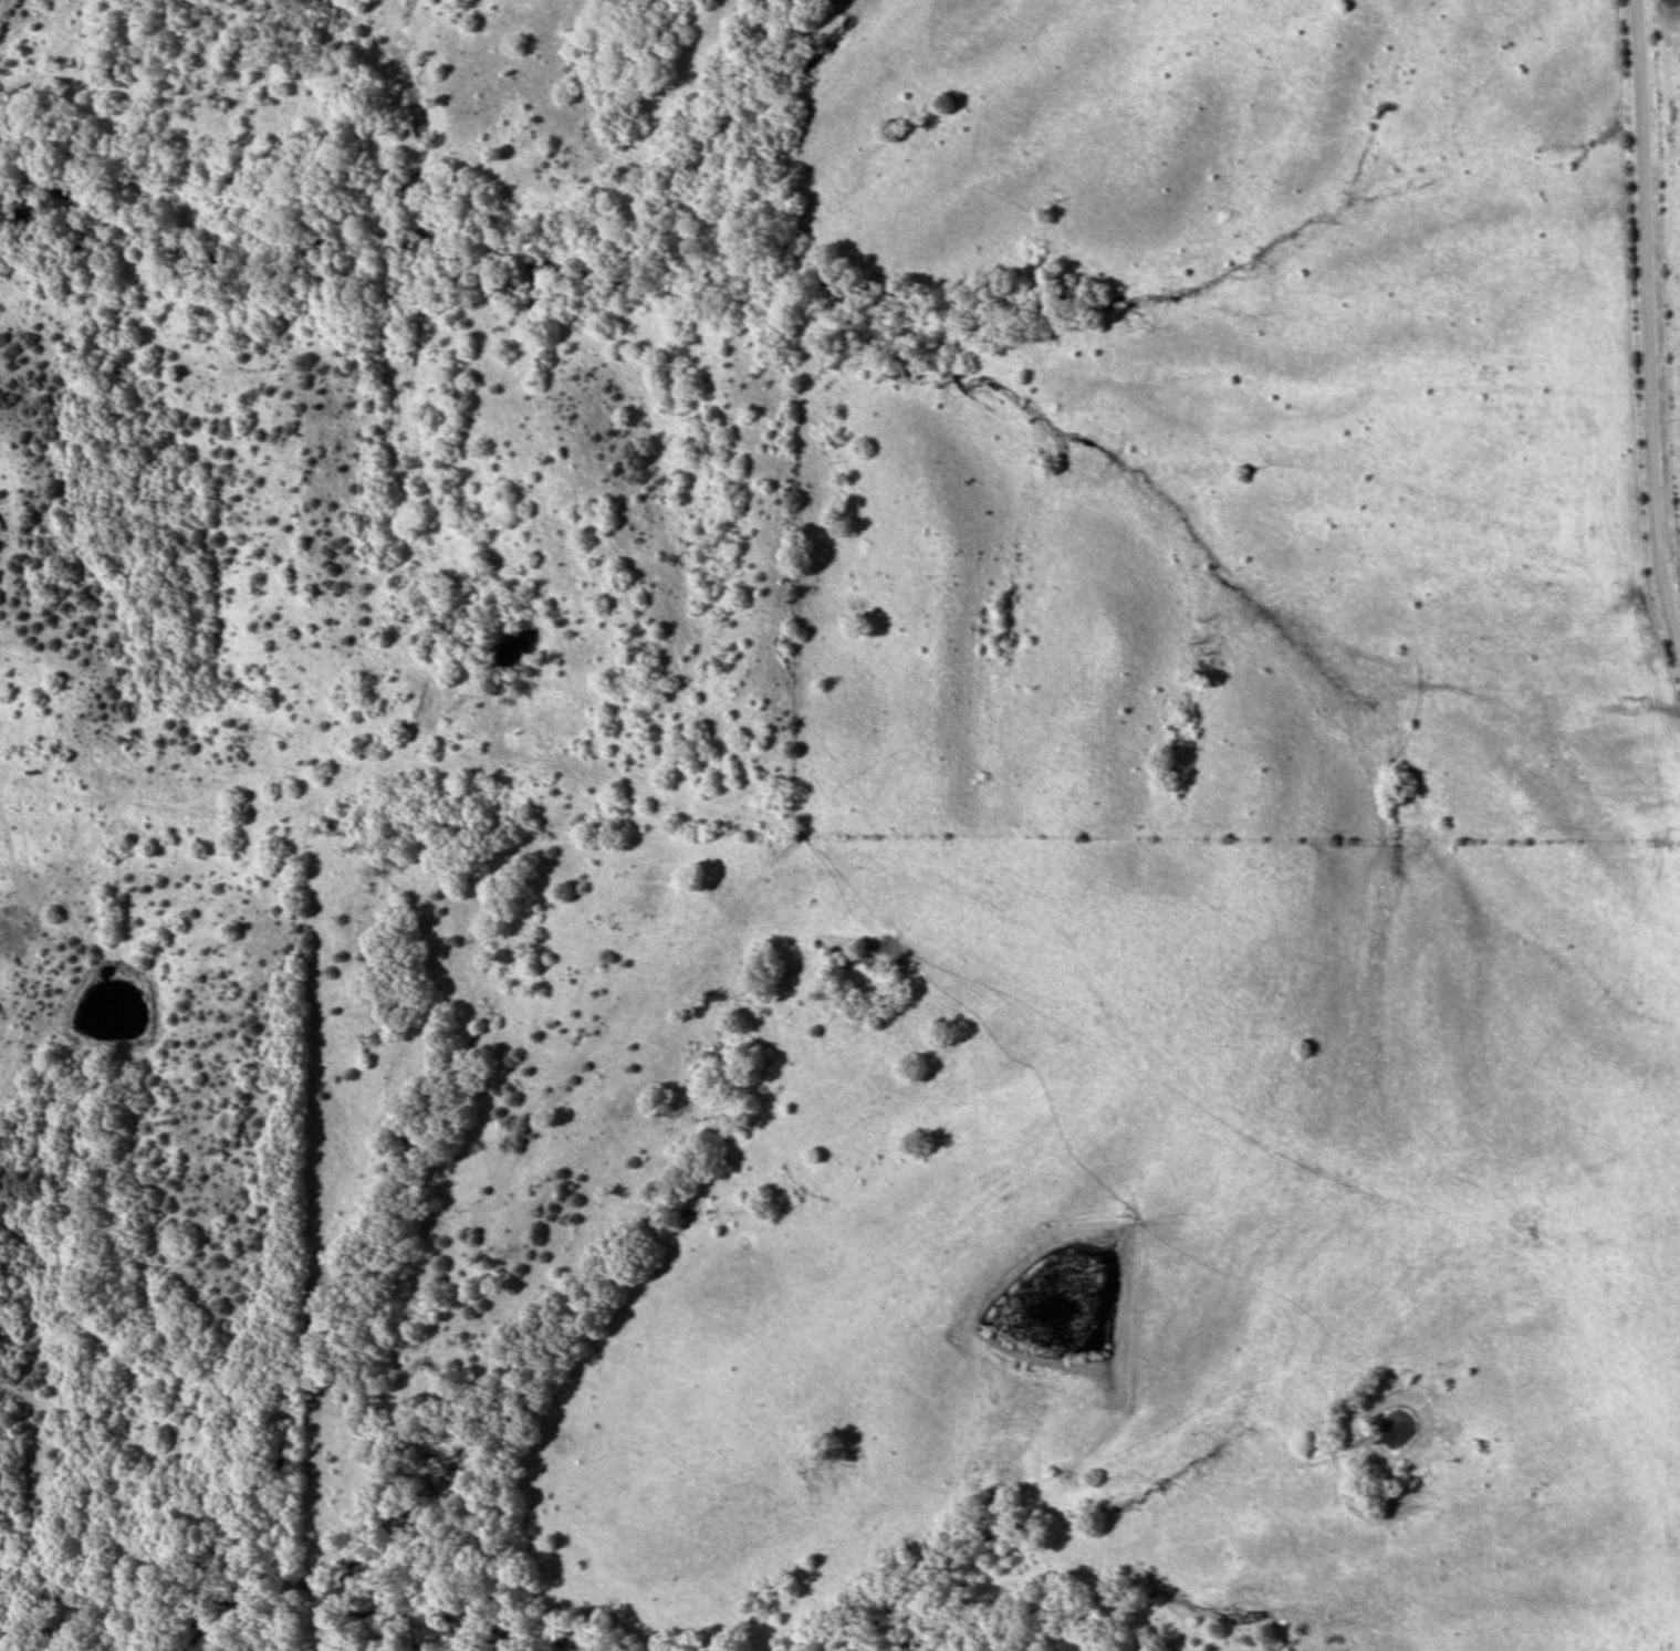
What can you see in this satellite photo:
road: (1635, 342)

